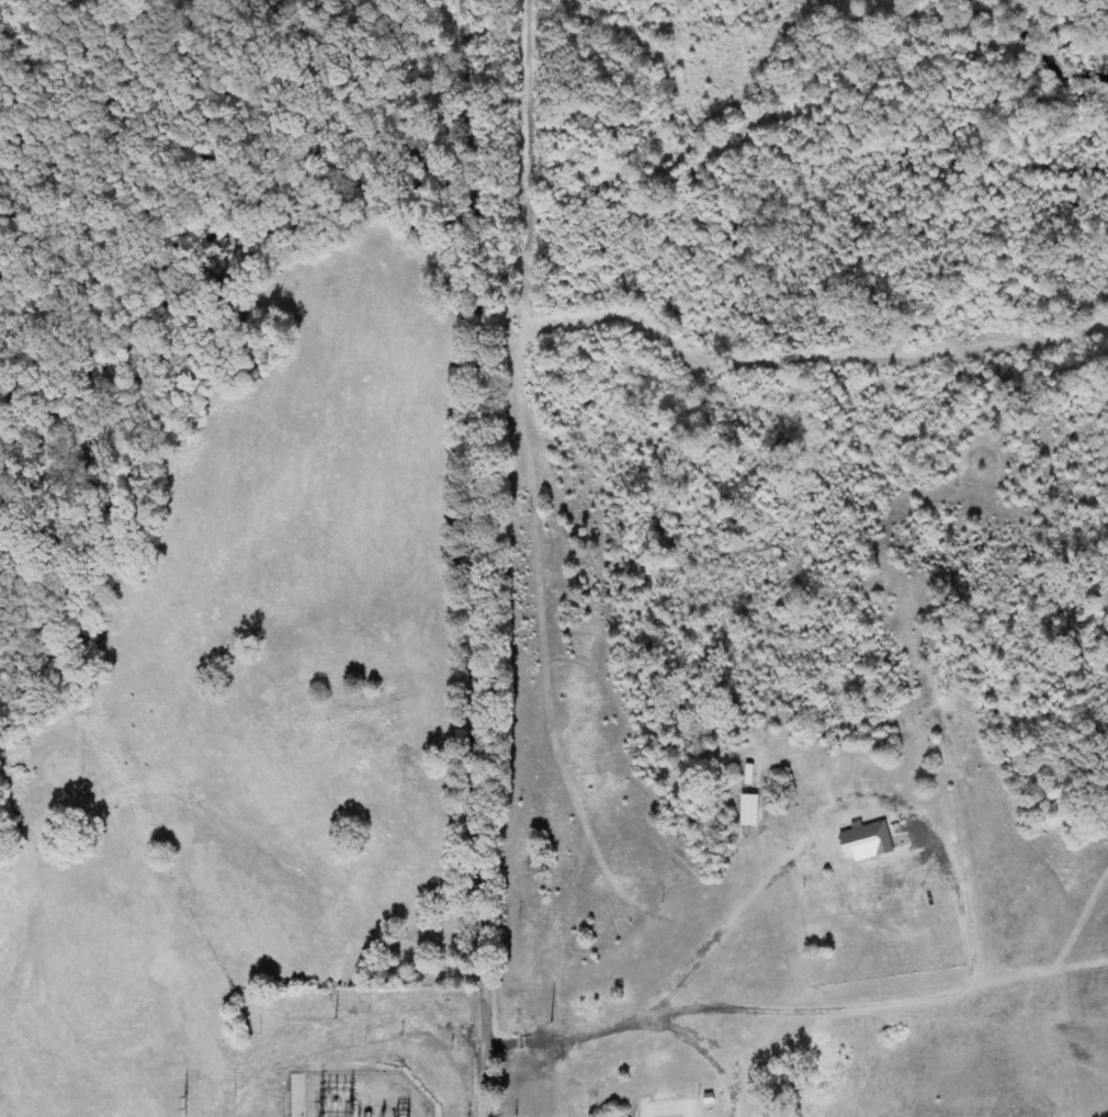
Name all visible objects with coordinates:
road: (478, 557)
building: (863, 842)

